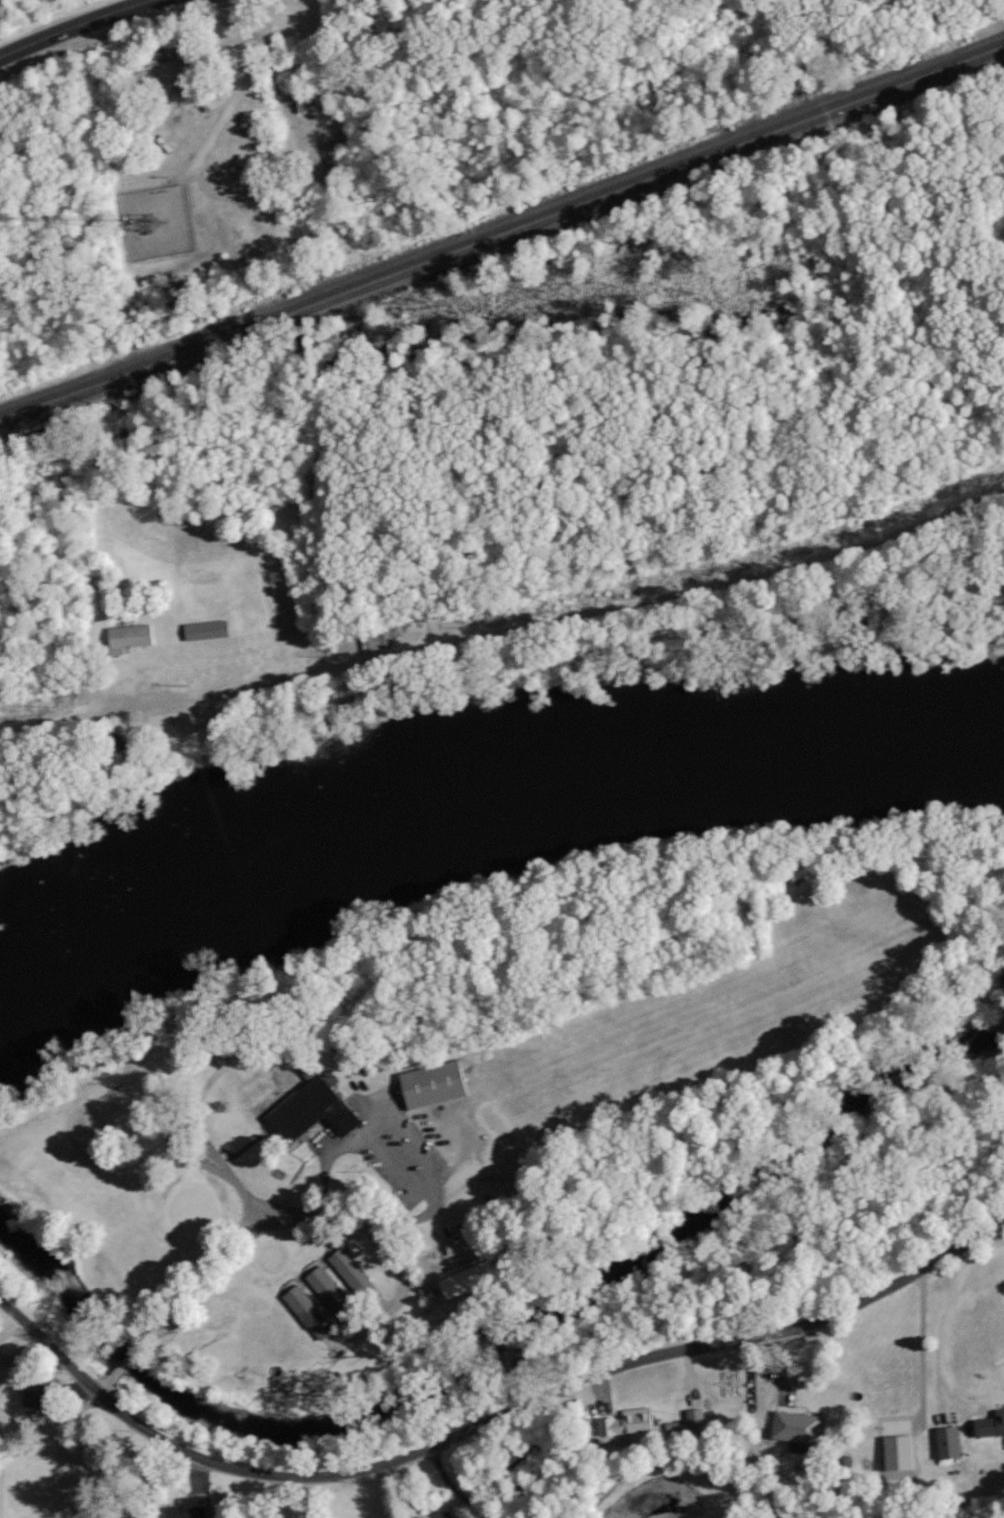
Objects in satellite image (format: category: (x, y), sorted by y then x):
road: (54, 21)
road: (152, 80)
road: (239, 223)
railway: (503, 223)
railway: (503, 238)
road: (507, 627)
building: (204, 630)
building: (126, 637)
river: (480, 810)
building: (429, 1083)
building: (310, 1108)
park: (277, 1229)
road: (383, 1240)
building: (455, 1245)
building: (475, 1270)
building: (352, 1273)
building: (450, 1285)
building: (323, 1286)
building: (305, 1310)
road: (943, 1325)
road: (922, 1347)
road: (144, 1354)
building: (29, 1394)
building: (693, 1419)
building: (625, 1421)
building: (989, 1423)
building: (792, 1425)
road: (490, 1428)
building: (945, 1441)
road: (9, 1443)
building: (895, 1451)
road: (453, 1484)
road: (401, 1491)
road: (285, 1499)
building: (186, 1507)
building: (438, 1514)

